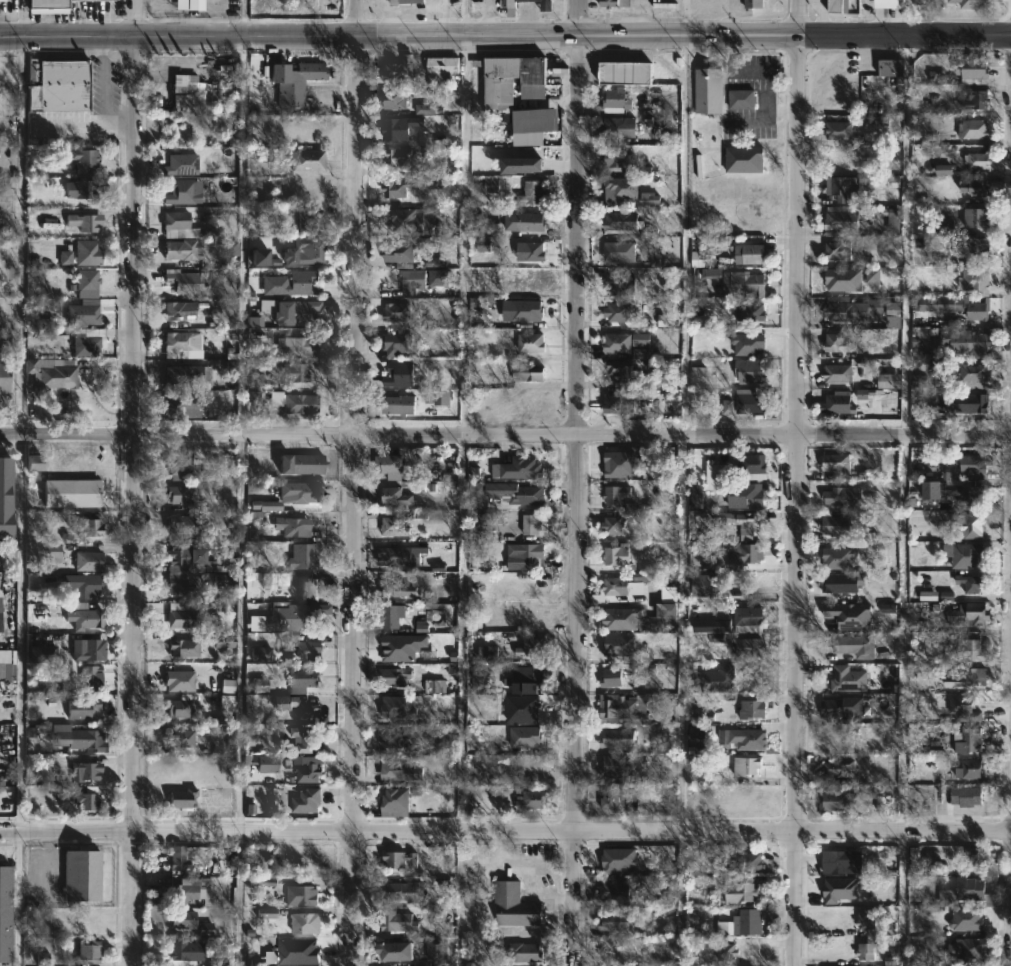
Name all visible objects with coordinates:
building: (2, 0)
building: (406, 2)
building: (615, 3)
building: (886, 3)
building: (969, 3)
building: (48, 4)
building: (196, 4)
building: (548, 4)
building: (754, 4)
building: (837, 6)
road: (22, 18)
road: (468, 18)
road: (686, 18)
road: (505, 36)
building: (442, 65)
building: (890, 67)
building: (971, 68)
building: (400, 70)
building: (626, 73)
building: (510, 79)
road: (103, 81)
building: (295, 81)
building: (186, 83)
building: (60, 87)
building: (710, 91)
building: (8, 95)
building: (393, 99)
building: (742, 99)
building: (188, 100)
building: (975, 100)
building: (614, 102)
road: (87, 127)
building: (619, 127)
building: (400, 128)
building: (975, 129)
building: (840, 131)
building: (399, 157)
building: (84, 159)
building: (742, 159)
building: (308, 160)
building: (621, 160)
building: (976, 160)
building: (181, 164)
building: (400, 188)
building: (842, 188)
building: (83, 189)
building: (972, 189)
building: (537, 190)
building: (621, 190)
building: (180, 192)
building: (841, 218)
building: (976, 218)
building: (309, 219)
building: (407, 221)
building: (623, 221)
building: (84, 222)
building: (531, 222)
building: (945, 225)
building: (179, 226)
road: (466, 236)
road: (906, 236)
building: (976, 246)
building: (183, 249)
building: (530, 252)
building: (620, 252)
building: (837, 252)
building: (87, 253)
building: (401, 253)
building: (754, 254)
building: (311, 256)
building: (971, 279)
building: (88, 281)
building: (412, 281)
building: (183, 282)
building: (835, 282)
building: (300, 284)
building: (745, 284)
building: (954, 306)
building: (850, 309)
building: (174, 311)
building: (751, 311)
building: (303, 312)
building: (397, 312)
building: (620, 312)
building: (83, 315)
building: (891, 315)
building: (181, 341)
building: (87, 342)
building: (624, 342)
building: (296, 343)
building: (838, 343)
building: (967, 343)
building: (398, 344)
building: (533, 344)
building: (751, 371)
building: (54, 372)
building: (295, 373)
building: (530, 373)
building: (620, 373)
building: (836, 374)
building: (400, 375)
building: (970, 376)
building: (5, 377)
building: (187, 378)
building: (698, 379)
building: (748, 401)
building: (295, 403)
building: (398, 403)
building: (618, 404)
building: (964, 404)
building: (183, 405)
building: (836, 405)
road: (683, 433)
road: (20, 434)
road: (242, 435)
road: (505, 437)
building: (835, 461)
building: (303, 462)
building: (34, 463)
building: (971, 464)
building: (752, 466)
building: (180, 467)
building: (392, 467)
building: (522, 468)
road: (355, 482)
road: (579, 482)
road: (797, 482)
road: (135, 483)
building: (944, 486)
building: (72, 494)
building: (182, 495)
building: (615, 495)
building: (746, 495)
building: (288, 496)
building: (528, 496)
building: (843, 496)
building: (975, 496)
building: (397, 497)
building: (477, 498)
building: (7, 499)
building: (742, 523)
building: (611, 524)
building: (832, 524)
building: (968, 524)
building: (533, 525)
building: (188, 526)
building: (394, 527)
building: (91, 528)
building: (294, 528)
building: (53, 553)
building: (749, 553)
building: (397, 555)
building: (616, 555)
building: (961, 555)
building: (531, 556)
building: (303, 558)
building: (89, 562)
building: (185, 570)
building: (838, 583)
building: (974, 584)
building: (84, 585)
building: (612, 585)
building: (706, 586)
building: (398, 588)
building: (311, 589)
building: (39, 612)
building: (967, 614)
building: (393, 615)
building: (747, 615)
building: (834, 616)
building: (661, 617)
building: (291, 618)
building: (619, 618)
building: (84, 619)
building: (183, 619)
building: (1, 620)
building: (710, 625)
road: (461, 634)
road: (904, 635)
building: (857, 647)
building: (184, 648)
building: (529, 648)
building: (746, 648)
building: (87, 649)
building: (966, 650)
building: (309, 651)
building: (43, 654)
building: (929, 671)
building: (90, 677)
building: (397, 677)
building: (612, 678)
building: (522, 679)
building: (846, 679)
building: (969, 679)
building: (720, 680)
building: (303, 681)
building: (227, 704)
building: (295, 706)
building: (617, 706)
building: (181, 708)
building: (837, 708)
building: (962, 708)
building: (82, 709)
building: (751, 709)
building: (397, 710)
building: (79, 738)
building: (744, 738)
building: (394, 739)
building: (618, 739)
building: (835, 739)
building: (181, 740)
building: (968, 741)
building: (306, 742)
building: (268, 763)
building: (619, 766)
building: (744, 766)
building: (836, 768)
building: (969, 768)
building: (182, 770)
building: (84, 771)
building: (391, 771)
building: (310, 773)
building: (612, 796)
building: (965, 796)
building: (746, 797)
building: (399, 799)
building: (532, 799)
building: (86, 800)
building: (186, 800)
building: (309, 800)
building: (834, 801)
road: (505, 832)
building: (181, 857)
building: (401, 858)
building: (977, 858)
building: (746, 860)
building: (275, 862)
building: (833, 862)
building: (83, 874)
building: (191, 886)
building: (616, 888)
building: (972, 888)
building: (406, 891)
building: (742, 892)
building: (834, 894)
building: (302, 895)
road: (17, 899)
road: (680, 899)
building: (515, 905)
building: (5, 915)
building: (180, 918)
building: (865, 918)
building: (397, 921)
building: (616, 921)
building: (307, 922)
building: (743, 923)
building: (89, 927)
building: (969, 948)
building: (298, 950)
building: (399, 950)
building: (437, 950)
building: (725, 950)
building: (865, 950)
building: (88, 952)
building: (185, 952)
building: (521, 952)

